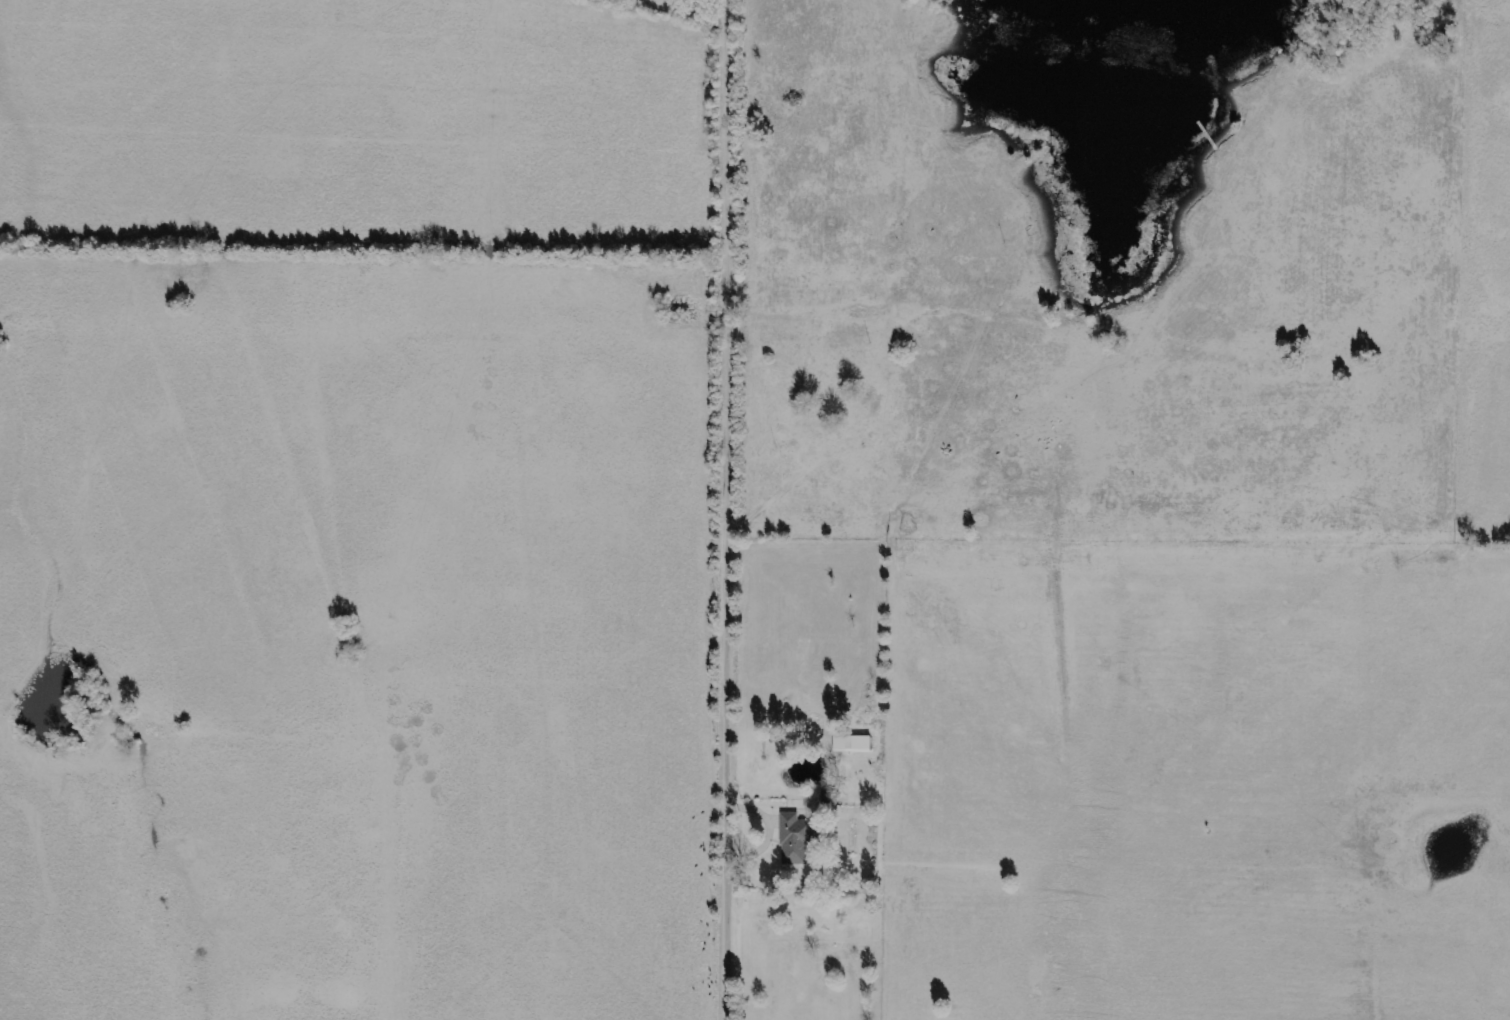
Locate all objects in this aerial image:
road: (736, 510)
building: (854, 743)
building: (796, 838)

